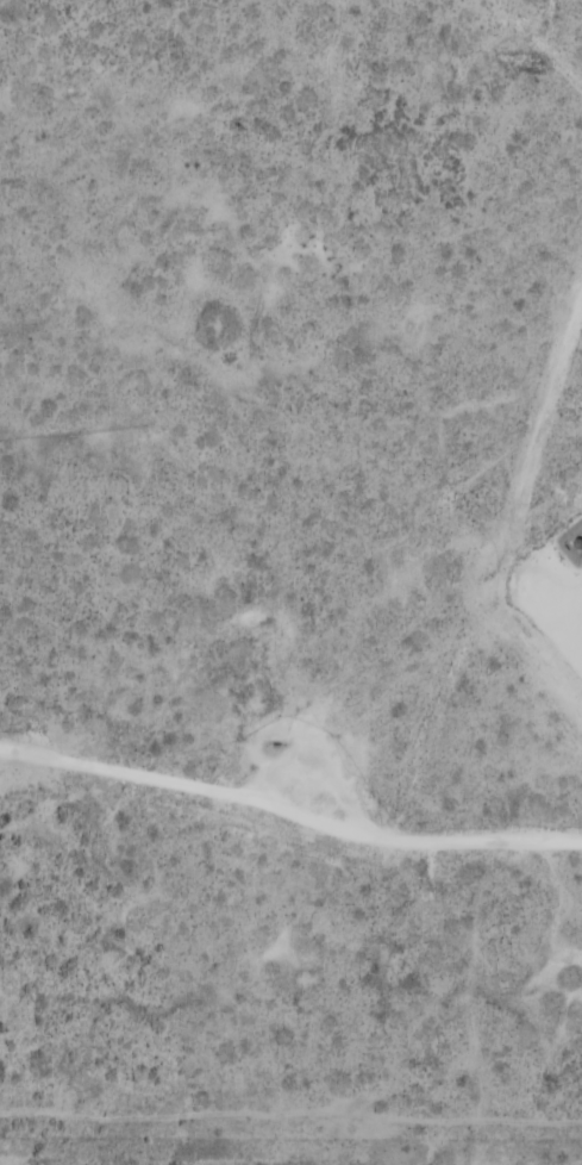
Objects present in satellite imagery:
road: (421, 834)

